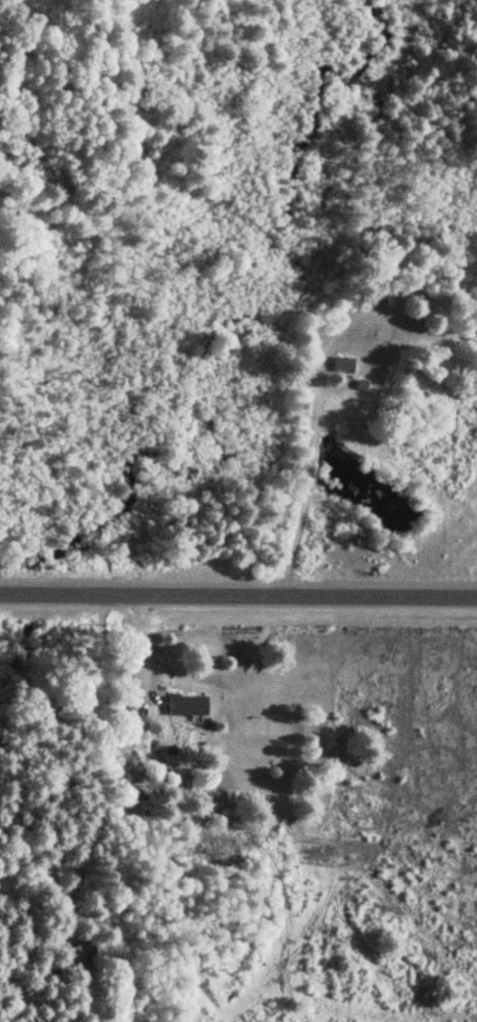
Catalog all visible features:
building: (345, 366)
road: (238, 598)
building: (185, 706)

